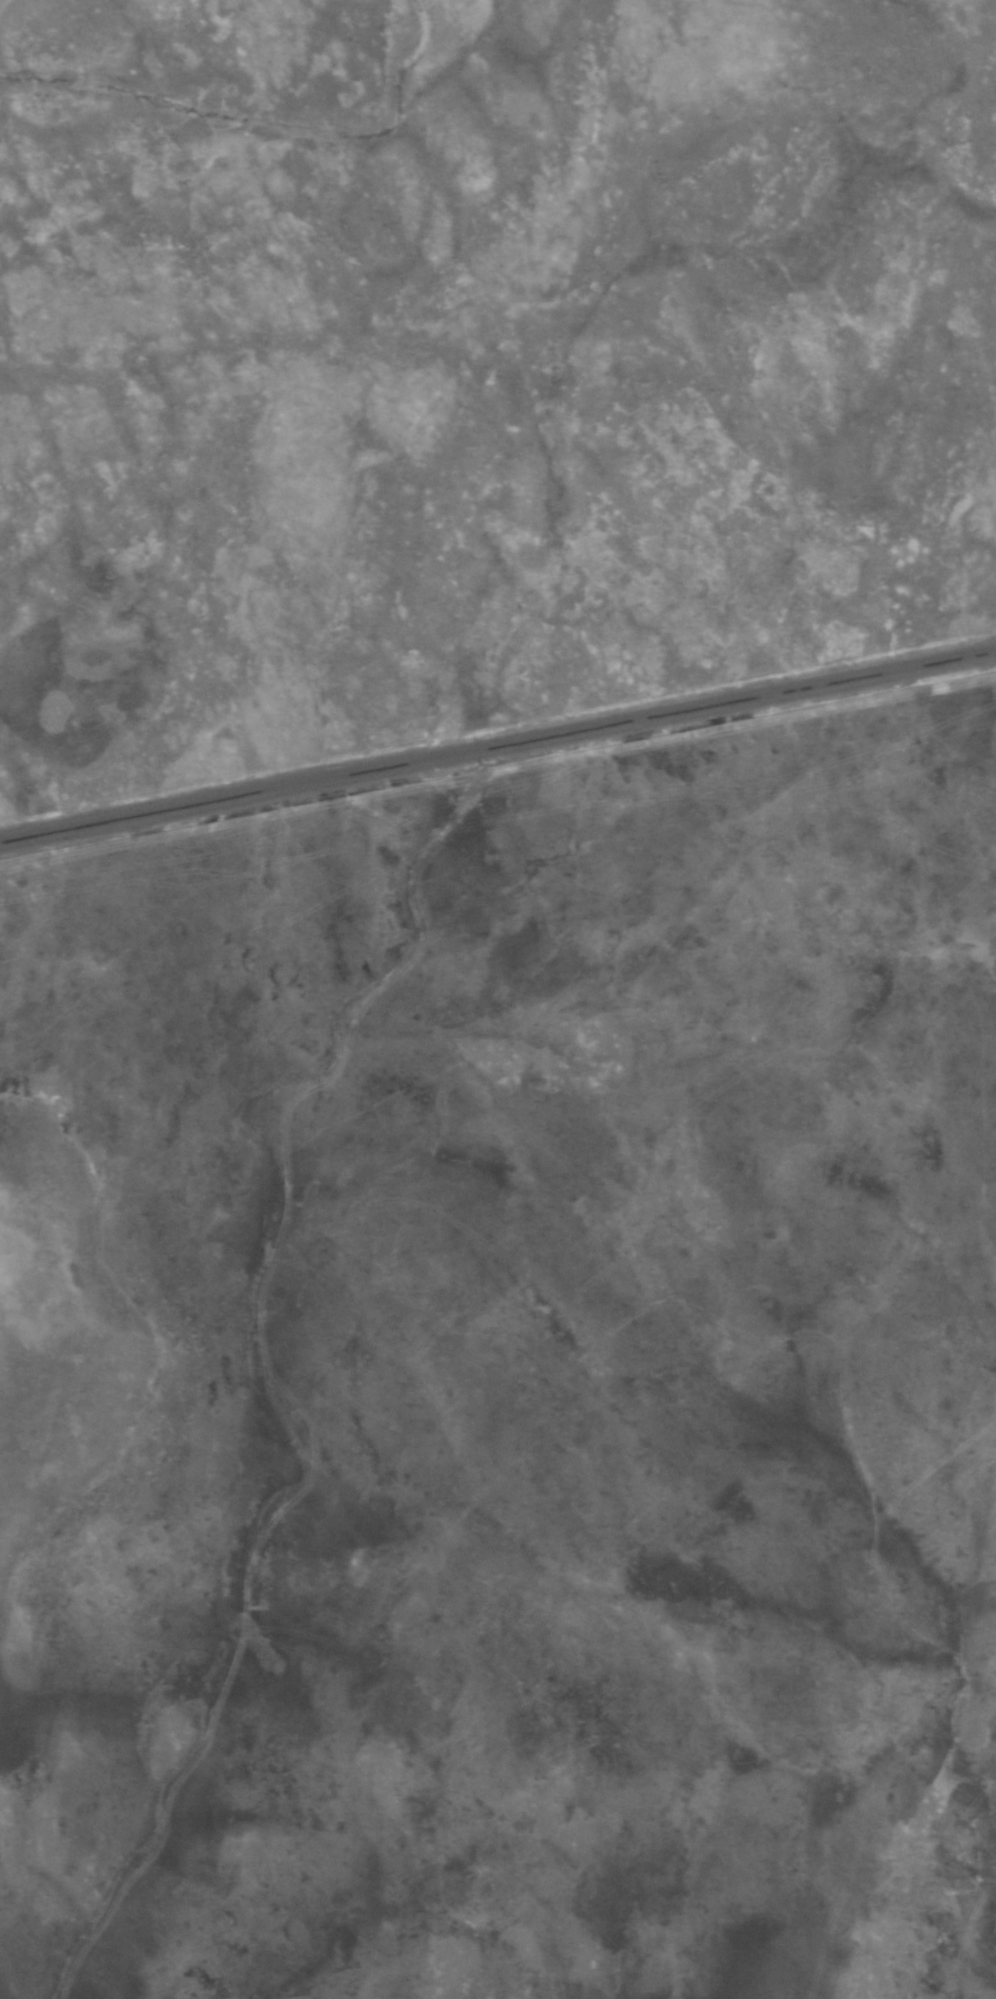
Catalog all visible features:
road: (497, 744)

